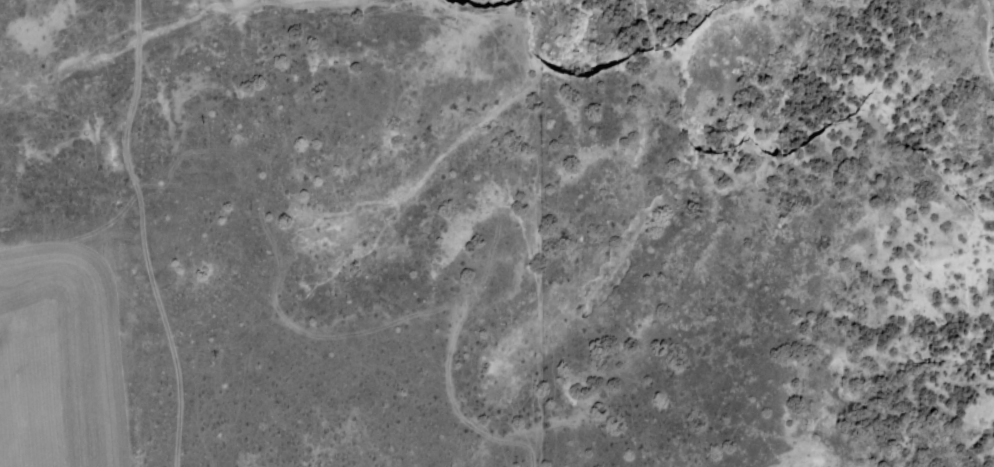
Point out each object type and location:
road: (144, 233)
crop: (77, 246)
road: (537, 452)

